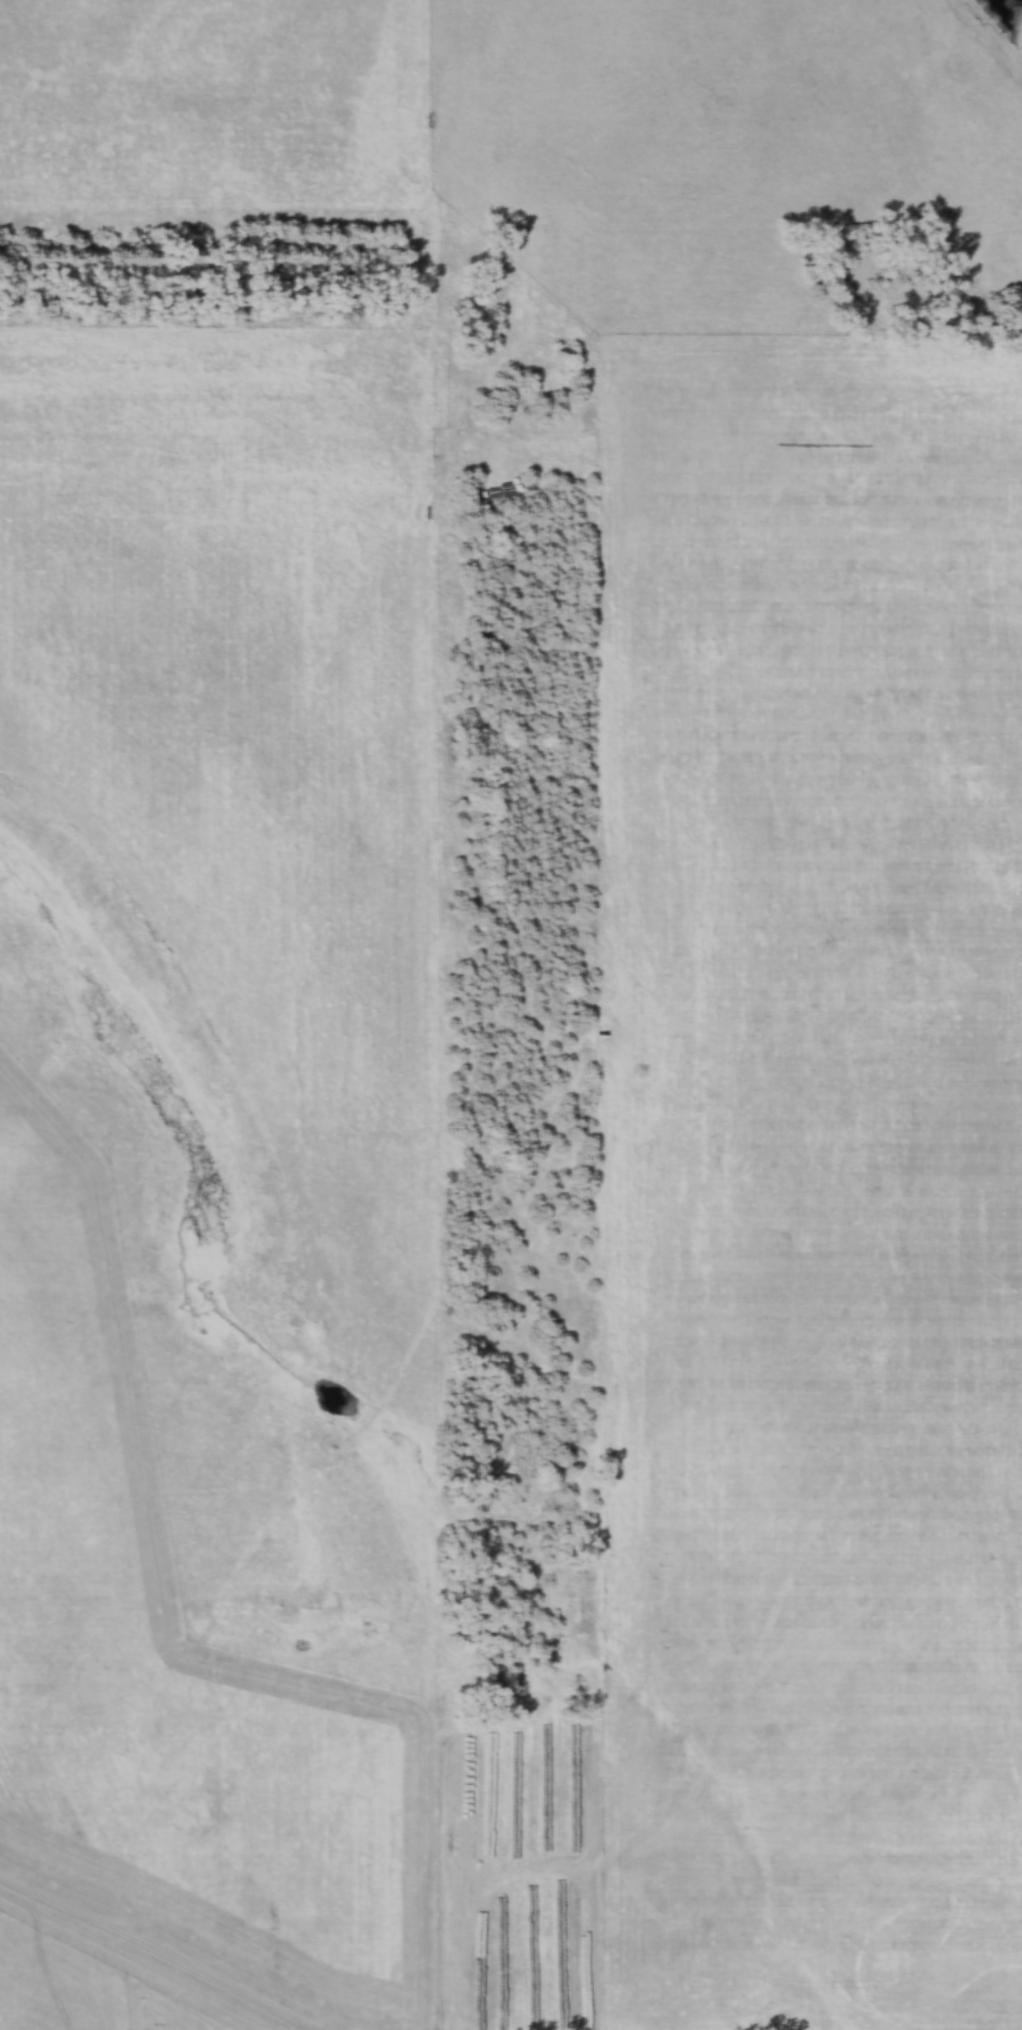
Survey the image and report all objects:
road: (145, 1958)

